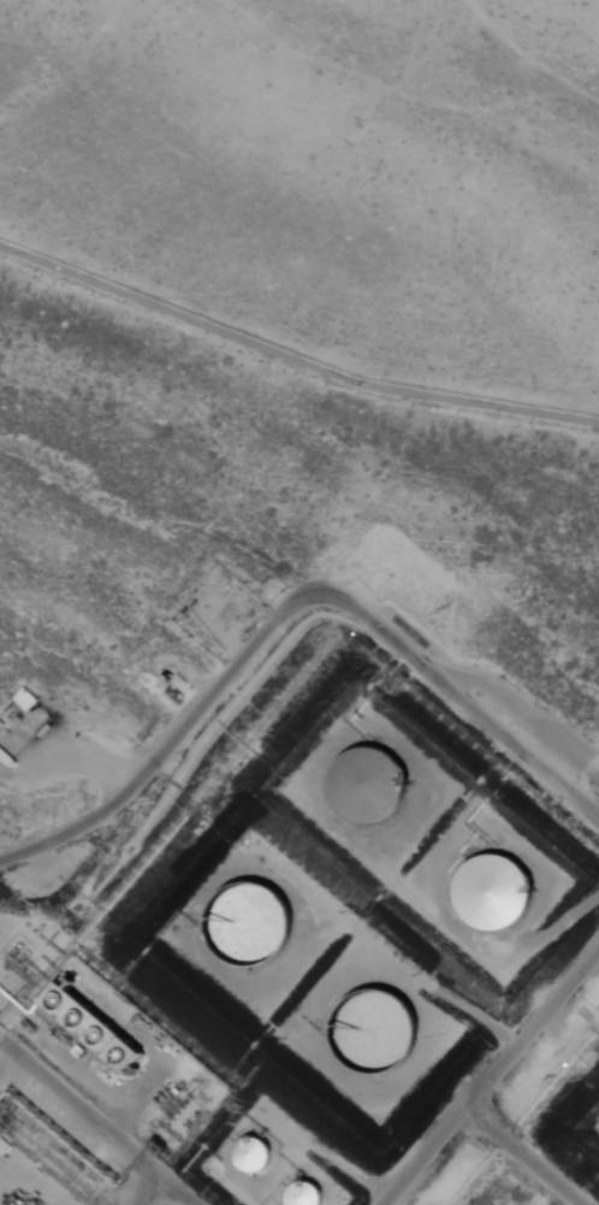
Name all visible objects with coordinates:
road: (292, 359)
road: (292, 610)
building: (25, 701)
building: (1, 727)
building: (8, 761)
storage tank: (364, 784)
building: (358, 788)
storage tank: (490, 892)
building: (485, 893)
storage tank: (245, 922)
building: (247, 922)
storage tank: (370, 1028)
building: (368, 1036)
road: (538, 1039)
road: (95, 1123)
road: (484, 1123)

